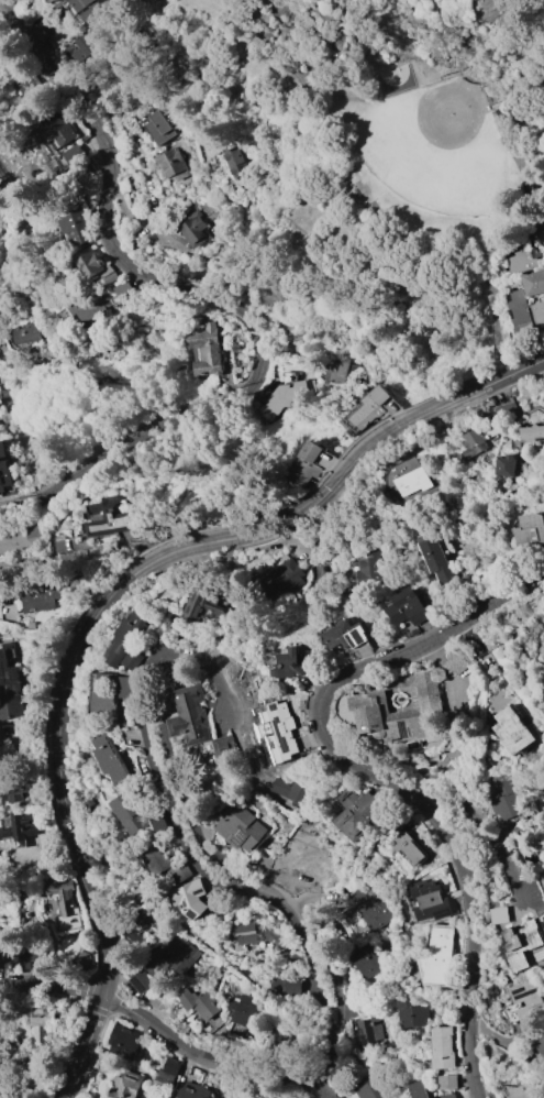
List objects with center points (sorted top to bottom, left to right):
building: (49, 0)
building: (86, 8)
building: (0, 35)
building: (81, 46)
park: (412, 66)
building: (106, 80)
building: (22, 91)
building: (58, 127)
building: (158, 128)
park: (443, 149)
building: (74, 155)
building: (234, 162)
building: (173, 164)
road: (537, 165)
park: (395, 189)
road: (314, 210)
road: (539, 212)
building: (77, 227)
building: (193, 229)
road: (369, 237)
road: (399, 248)
building: (521, 261)
building: (92, 264)
road: (301, 270)
building: (111, 277)
building: (534, 283)
building: (125, 290)
road: (214, 298)
building: (90, 305)
building: (1, 311)
building: (519, 311)
building: (539, 315)
building: (27, 331)
building: (204, 349)
road: (504, 352)
building: (334, 369)
building: (284, 396)
building: (371, 407)
building: (533, 433)
road: (375, 438)
building: (473, 439)
building: (308, 464)
building: (506, 465)
building: (3, 468)
building: (412, 481)
building: (110, 521)
building: (530, 530)
building: (22, 538)
road: (181, 551)
building: (436, 560)
road: (79, 564)
building: (368, 570)
building: (285, 577)
building: (38, 595)
building: (202, 604)
building: (409, 607)
rooftop solar panel: (362, 629)
rooftop solar panel: (347, 633)
rooftop solar panel: (354, 633)
building: (348, 635)
building: (127, 637)
rooftop solar panel: (300, 658)
road: (488, 658)
building: (135, 659)
building: (295, 663)
rooftop solar panel: (1, 665)
rooftop solar panel: (13, 671)
rooftop solar panel: (3, 677)
road: (223, 679)
building: (10, 687)
building: (110, 695)
building: (397, 700)
building: (193, 715)
rooftop solar panel: (406, 723)
building: (289, 727)
rooftop solar panel: (286, 729)
building: (512, 729)
building: (227, 746)
building: (109, 758)
road: (382, 777)
road: (184, 784)
building: (15, 786)
road: (166, 790)
building: (298, 790)
building: (88, 800)
building: (508, 800)
building: (127, 812)
building: (359, 812)
building: (157, 822)
building: (241, 827)
building: (19, 828)
road: (70, 828)
road: (482, 830)
rooftop solar panel: (241, 836)
building: (407, 842)
building: (162, 860)
rooftop solar panel: (201, 889)
road: (271, 893)
rooftop solar panel: (373, 893)
building: (190, 898)
rooftop solar panel: (379, 901)
building: (430, 901)
rooftop solar panel: (374, 902)
rooftop solar panel: (186, 903)
building: (64, 904)
rooftop solar panel: (180, 905)
building: (370, 907)
rooftop solar panel: (193, 910)
rooftop solar panel: (385, 912)
building: (501, 915)
rooftop solar panel: (376, 916)
building: (1, 933)
building: (133, 936)
building: (252, 936)
building: (522, 945)
road: (332, 952)
building: (30, 957)
road: (314, 958)
building: (174, 962)
building: (367, 962)
building: (430, 973)
building: (140, 980)
building: (286, 985)
rooftop solar panel: (520, 988)
rooftop solar panel: (524, 992)
building: (197, 1002)
building: (529, 1003)
building: (244, 1009)
building: (411, 1013)
building: (38, 1023)
building: (367, 1029)
road: (163, 1033)
building: (280, 1039)
building: (123, 1042)
building: (442, 1047)
building: (540, 1047)
road: (331, 1058)
building: (169, 1069)
building: (447, 1081)
building: (125, 1085)
building: (370, 1087)
building: (420, 1089)
building: (521, 1090)
building: (192, 1091)
building: (260, 1095)
building: (448, 1095)

